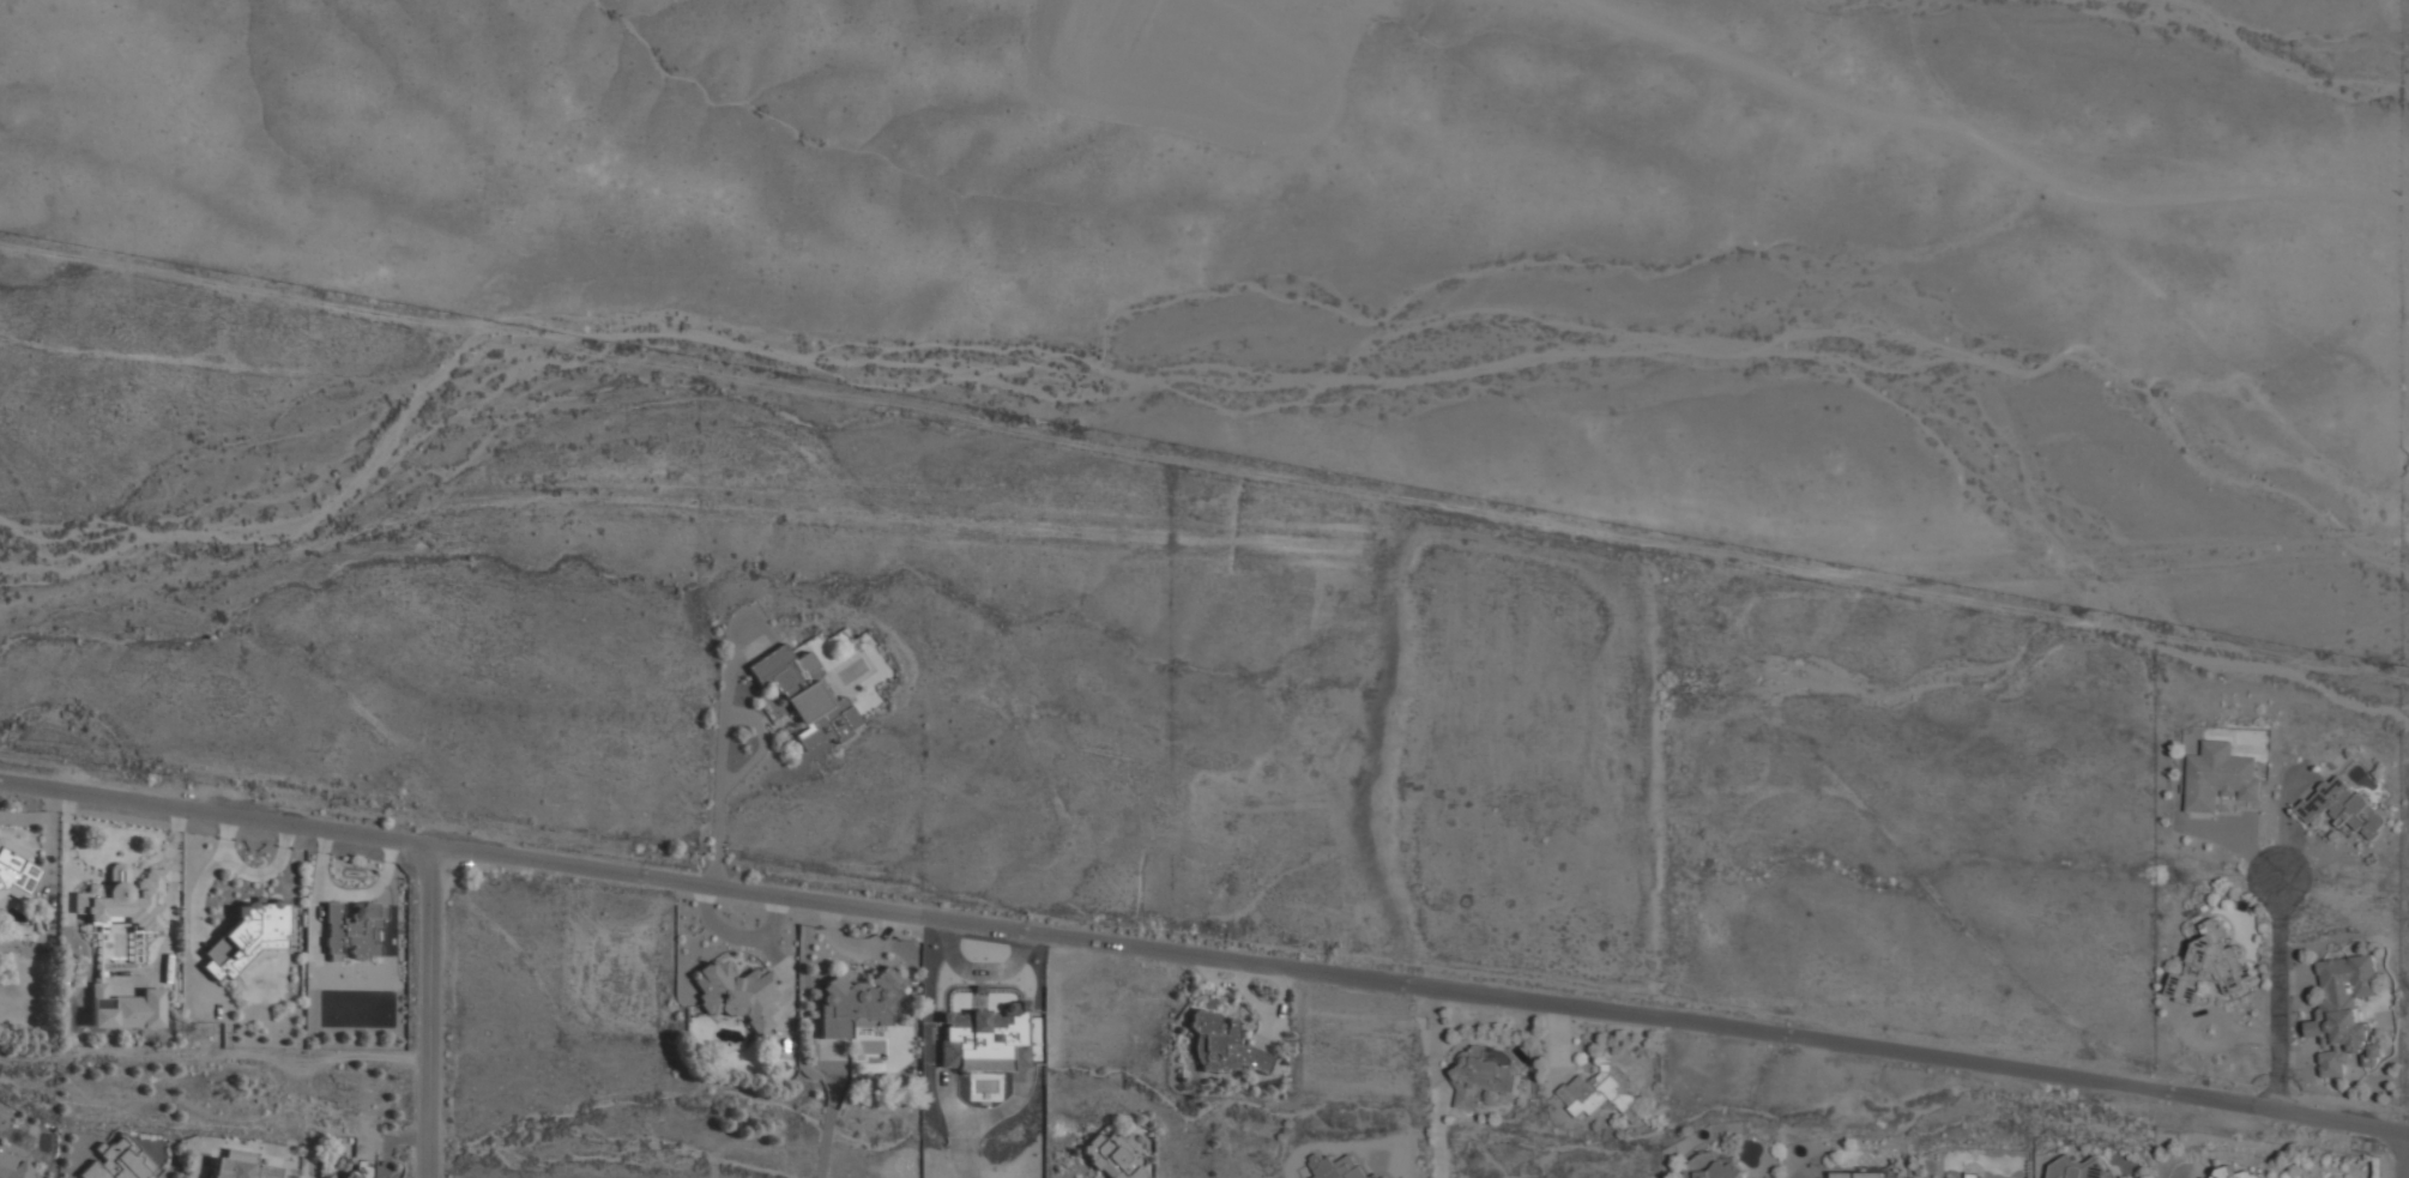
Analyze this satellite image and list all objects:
road: (1987, 143)
road: (729, 664)
building: (804, 695)
road: (720, 739)
building: (2220, 777)
building: (2343, 807)
road: (215, 811)
building: (16, 871)
building: (354, 930)
building: (246, 937)
building: (2209, 965)
road: (1419, 985)
road: (2278, 992)
building: (101, 995)
building: (736, 995)
building: (856, 1003)
road: (428, 1010)
building: (132, 1011)
building: (2344, 1011)
building: (997, 1037)
building: (1245, 1057)
building: (1484, 1080)
road: (1437, 1082)
building: (1601, 1093)
road: (2402, 1155)
building: (1112, 1158)
building: (117, 1161)
building: (241, 1166)
building: (13, 1167)
building: (1336, 1167)
building: (2077, 1168)
building: (357, 1170)
building: (1721, 1171)
building: (1860, 1174)
building: (2235, 1174)
building: (1967, 1176)
building: (2204, 1177)

